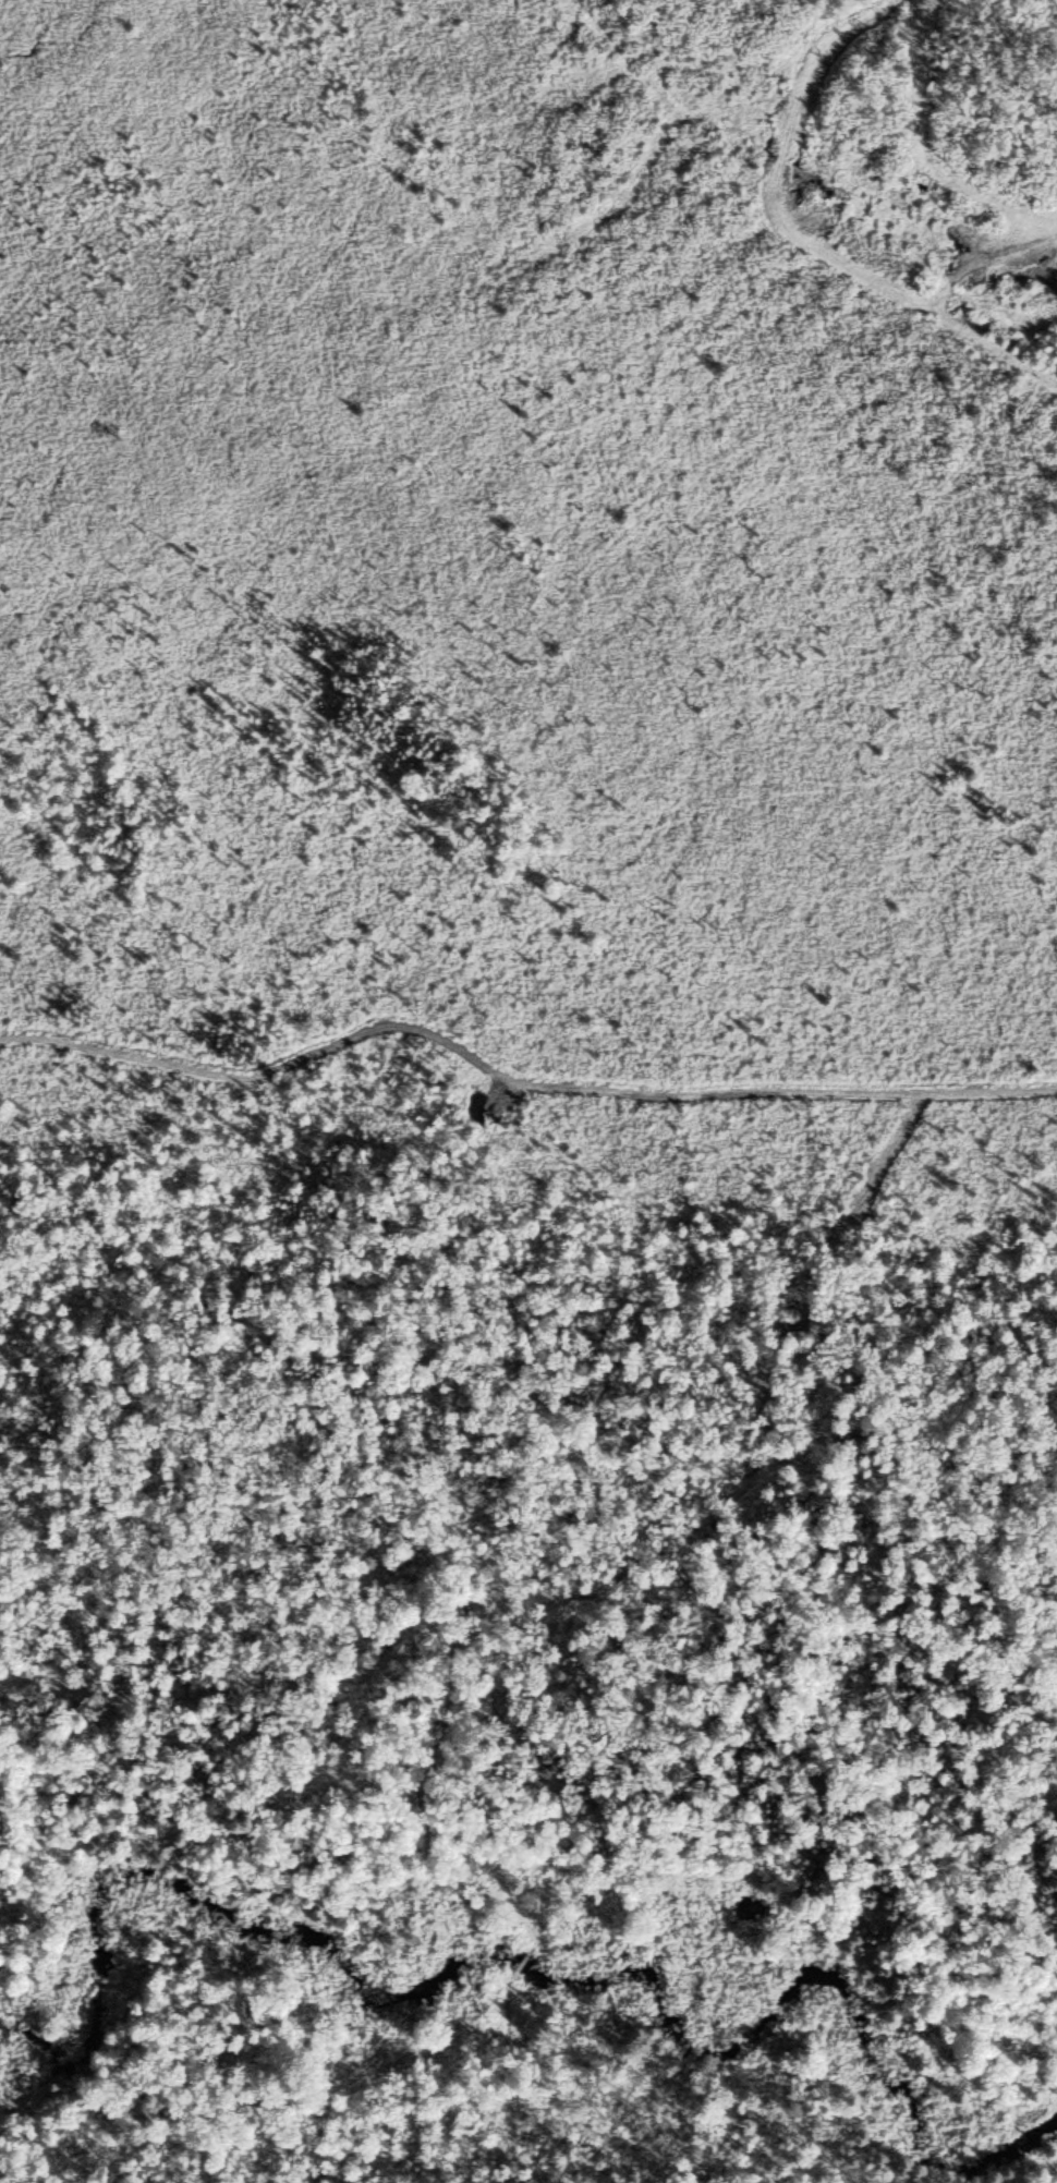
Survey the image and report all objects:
river: (454, 2012)
river: (1045, 2176)

